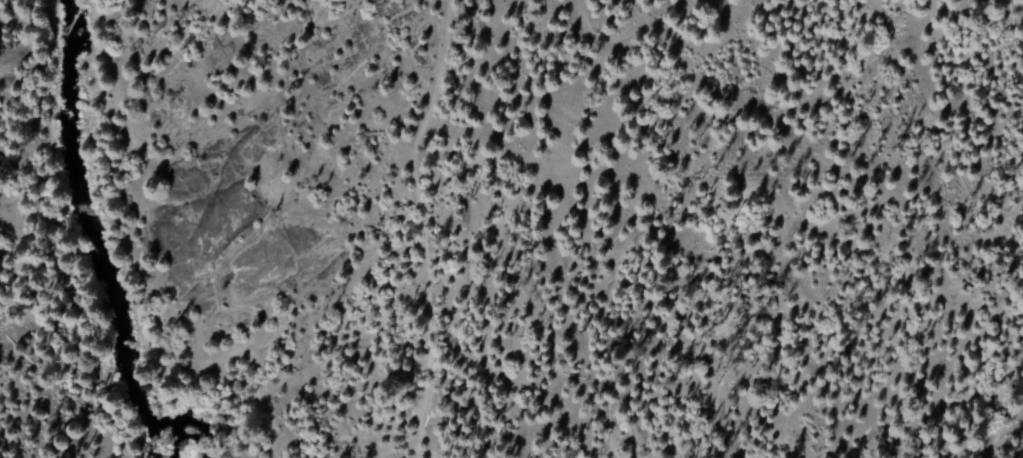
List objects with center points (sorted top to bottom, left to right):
road: (484, 234)

